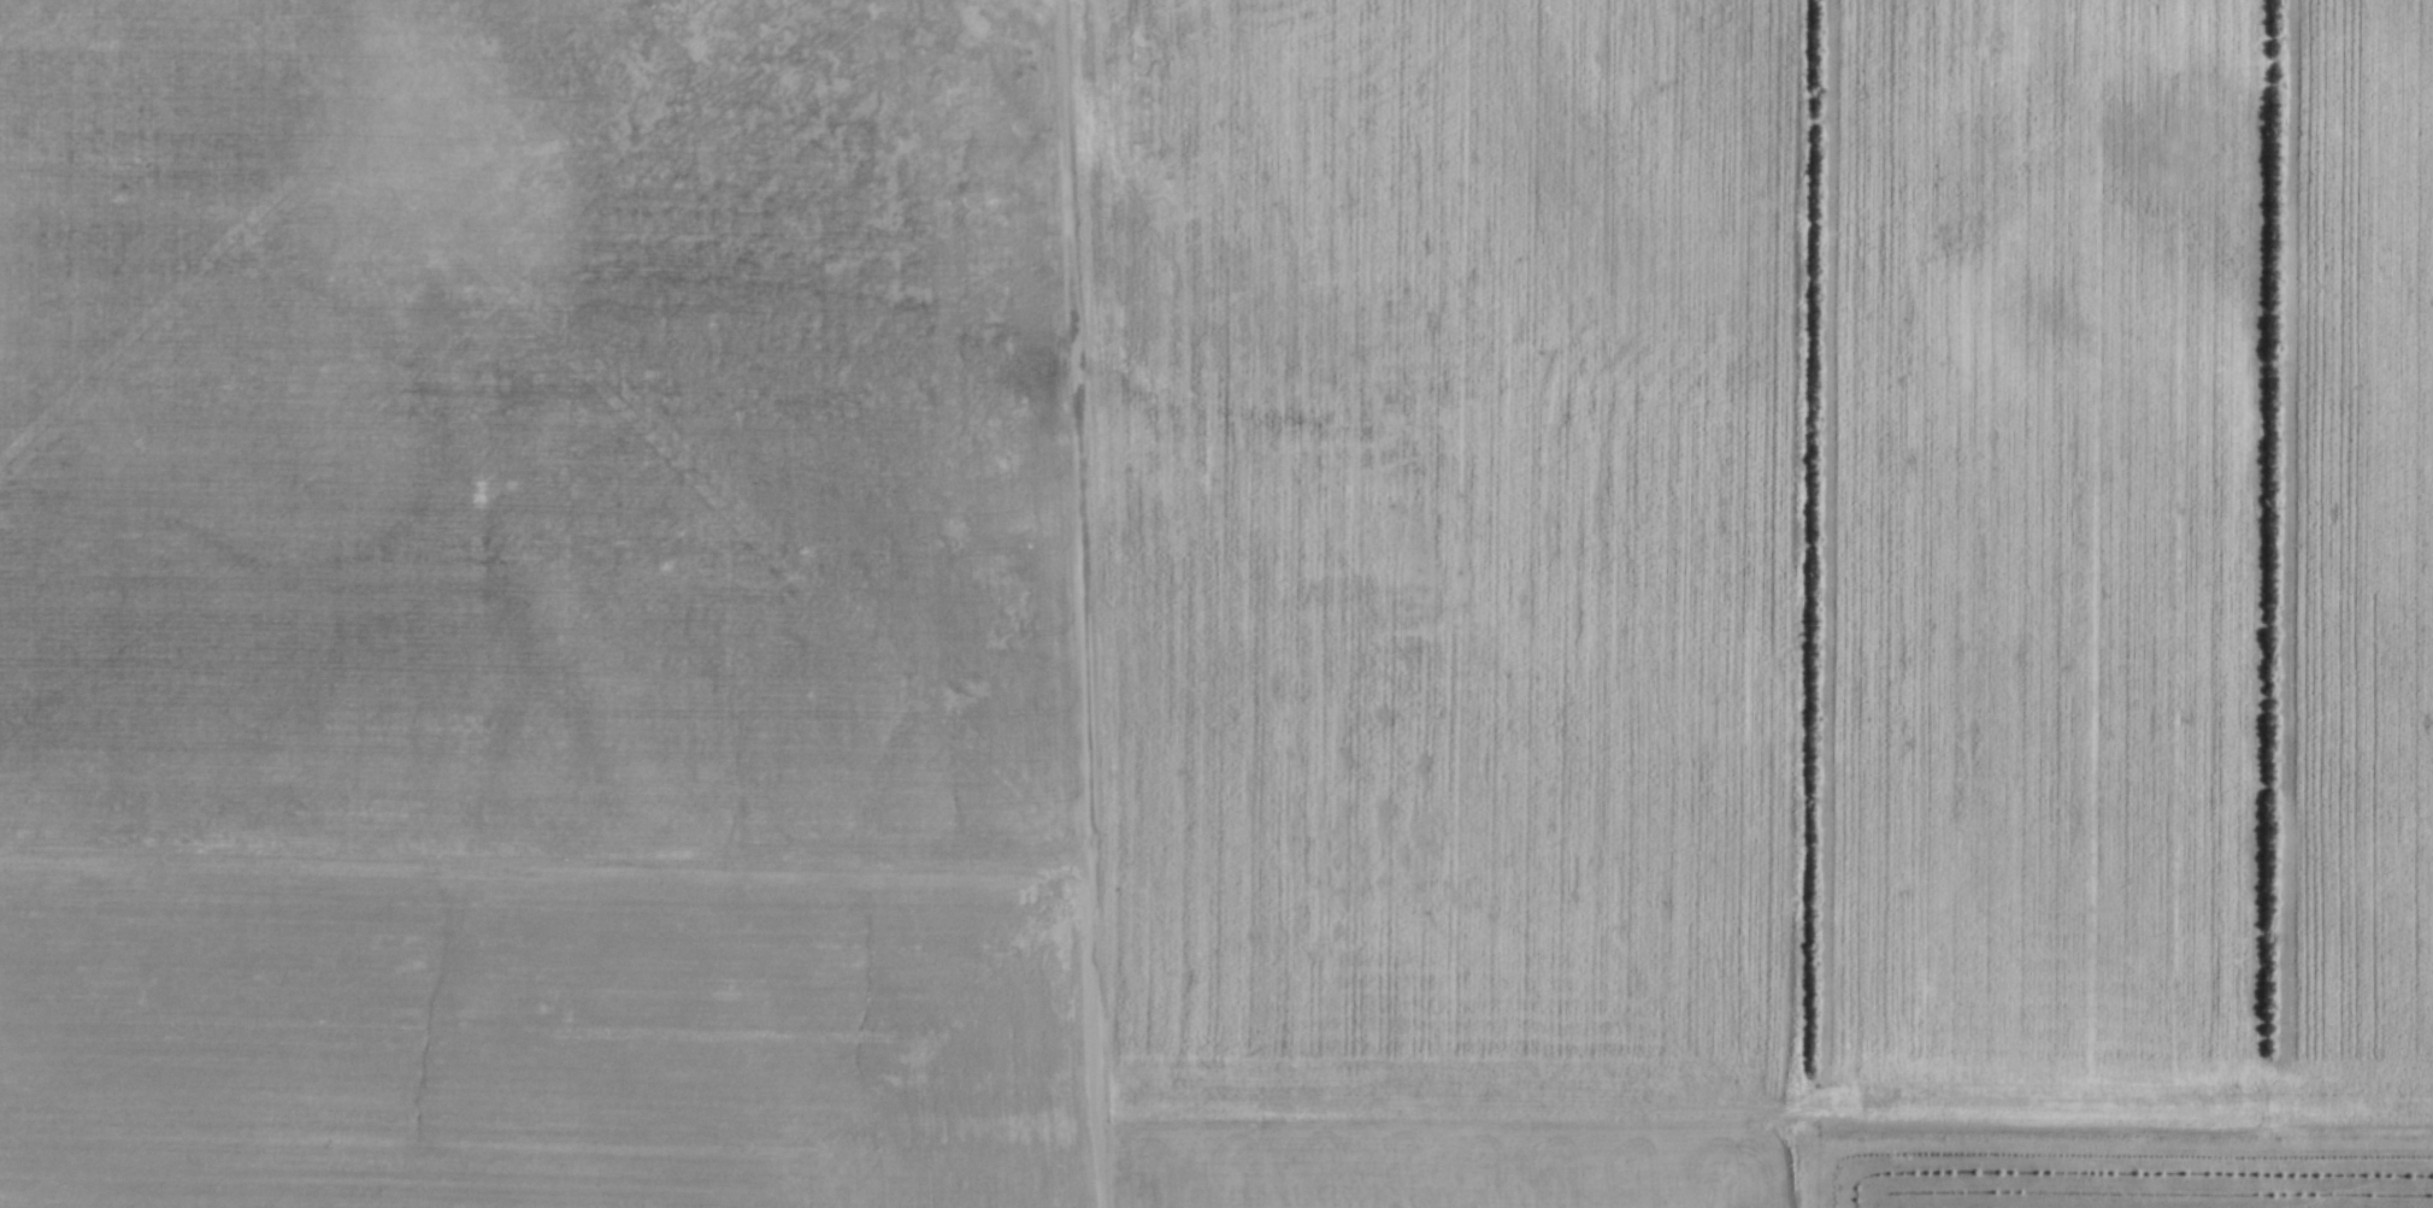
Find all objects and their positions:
crop: (1191, 594)

